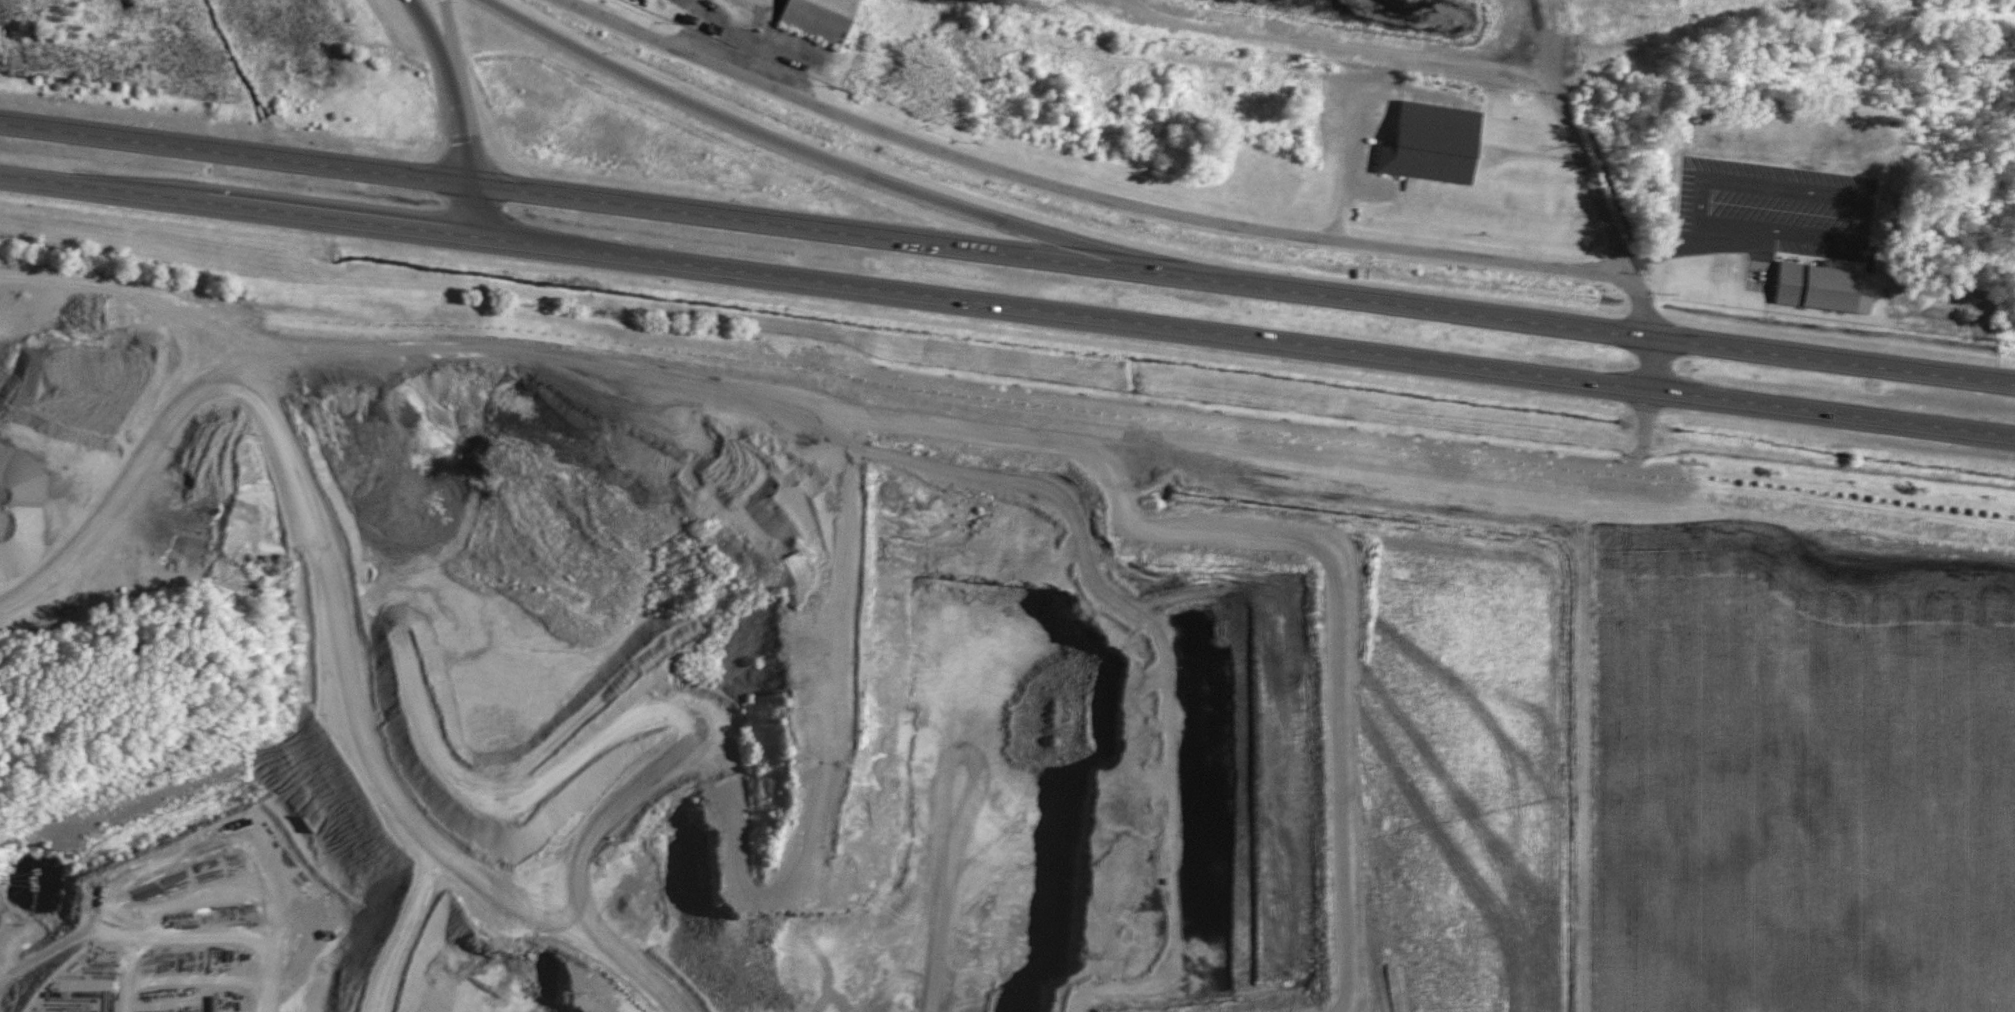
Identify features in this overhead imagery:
railway: (2007, 1)
building: (822, 18)
road: (435, 43)
road: (452, 44)
road: (1548, 45)
road: (464, 137)
road: (843, 168)
road: (439, 180)
road: (472, 210)
road: (438, 231)
building: (1828, 287)
road: (1446, 311)
road: (1445, 362)
road: (1629, 459)
quarry: (419, 664)
park: (125, 684)
road: (1201, 716)

